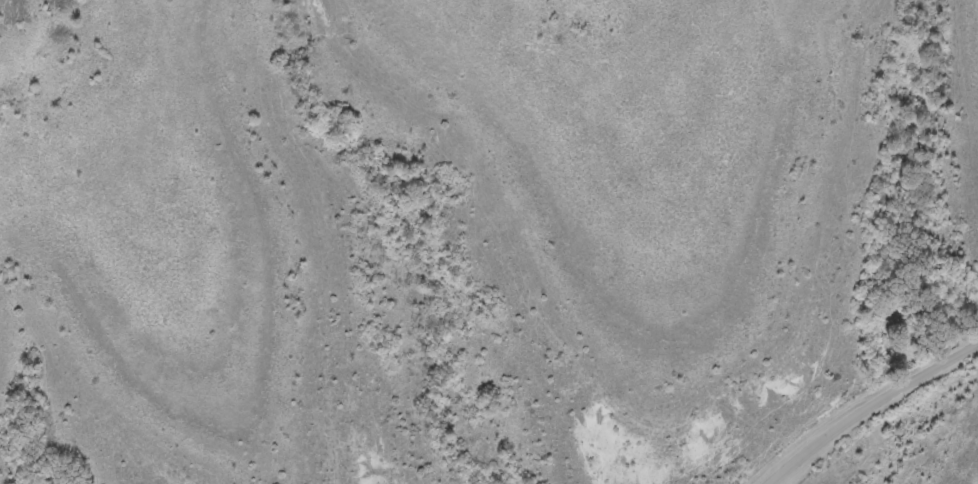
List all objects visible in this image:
road: (868, 404)

